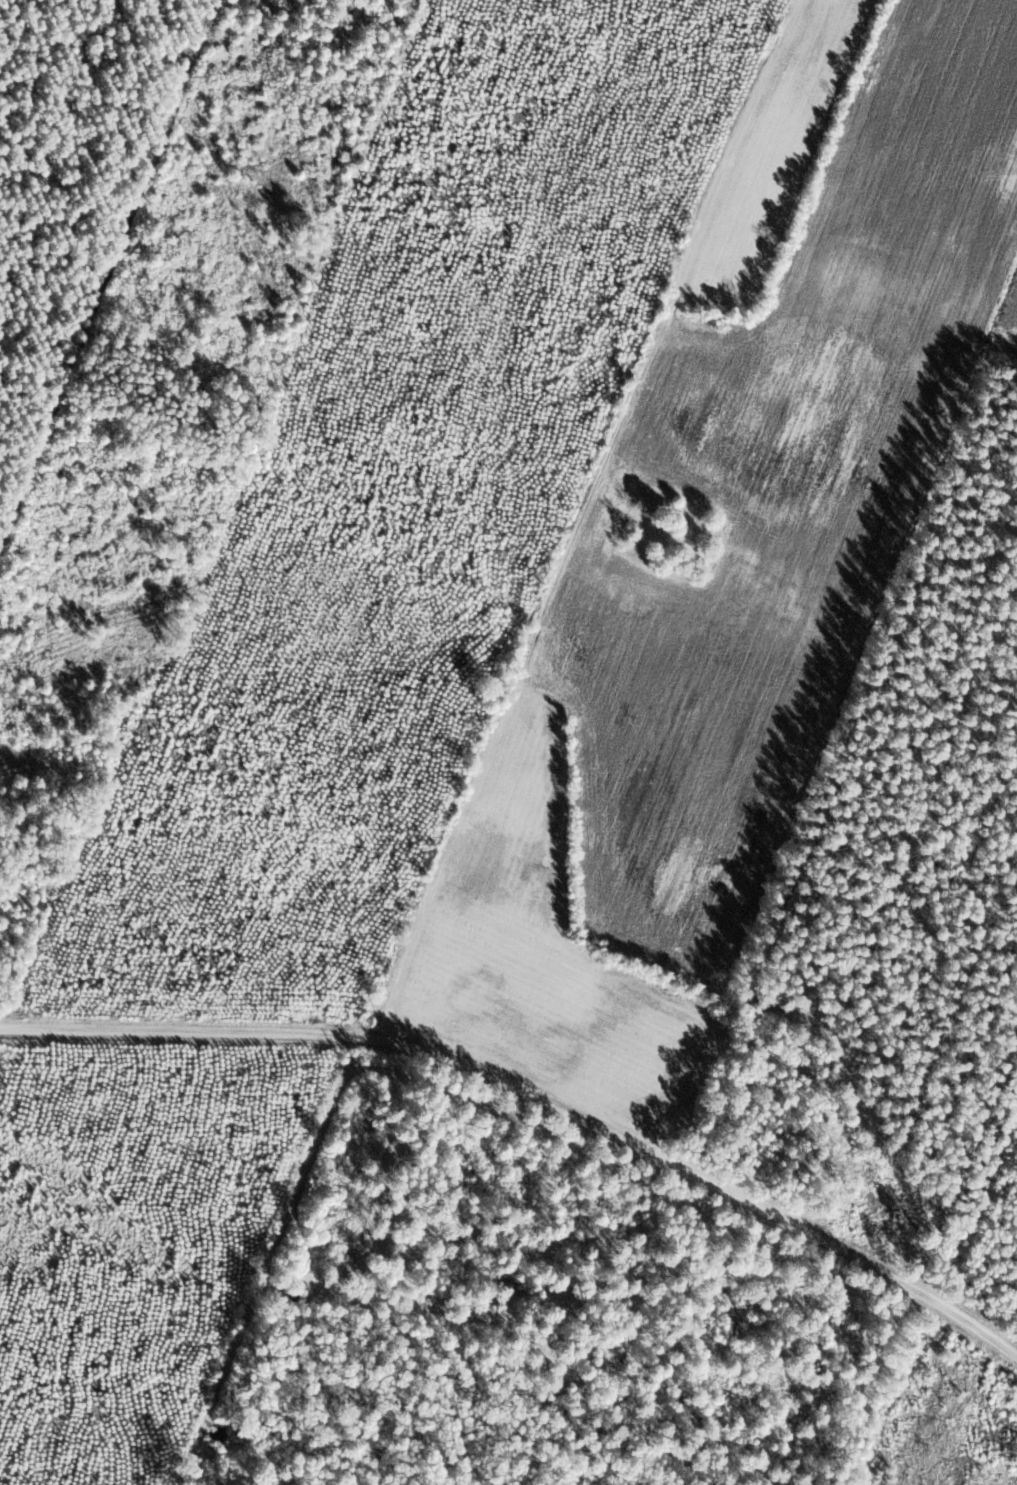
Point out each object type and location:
road: (531, 1054)

